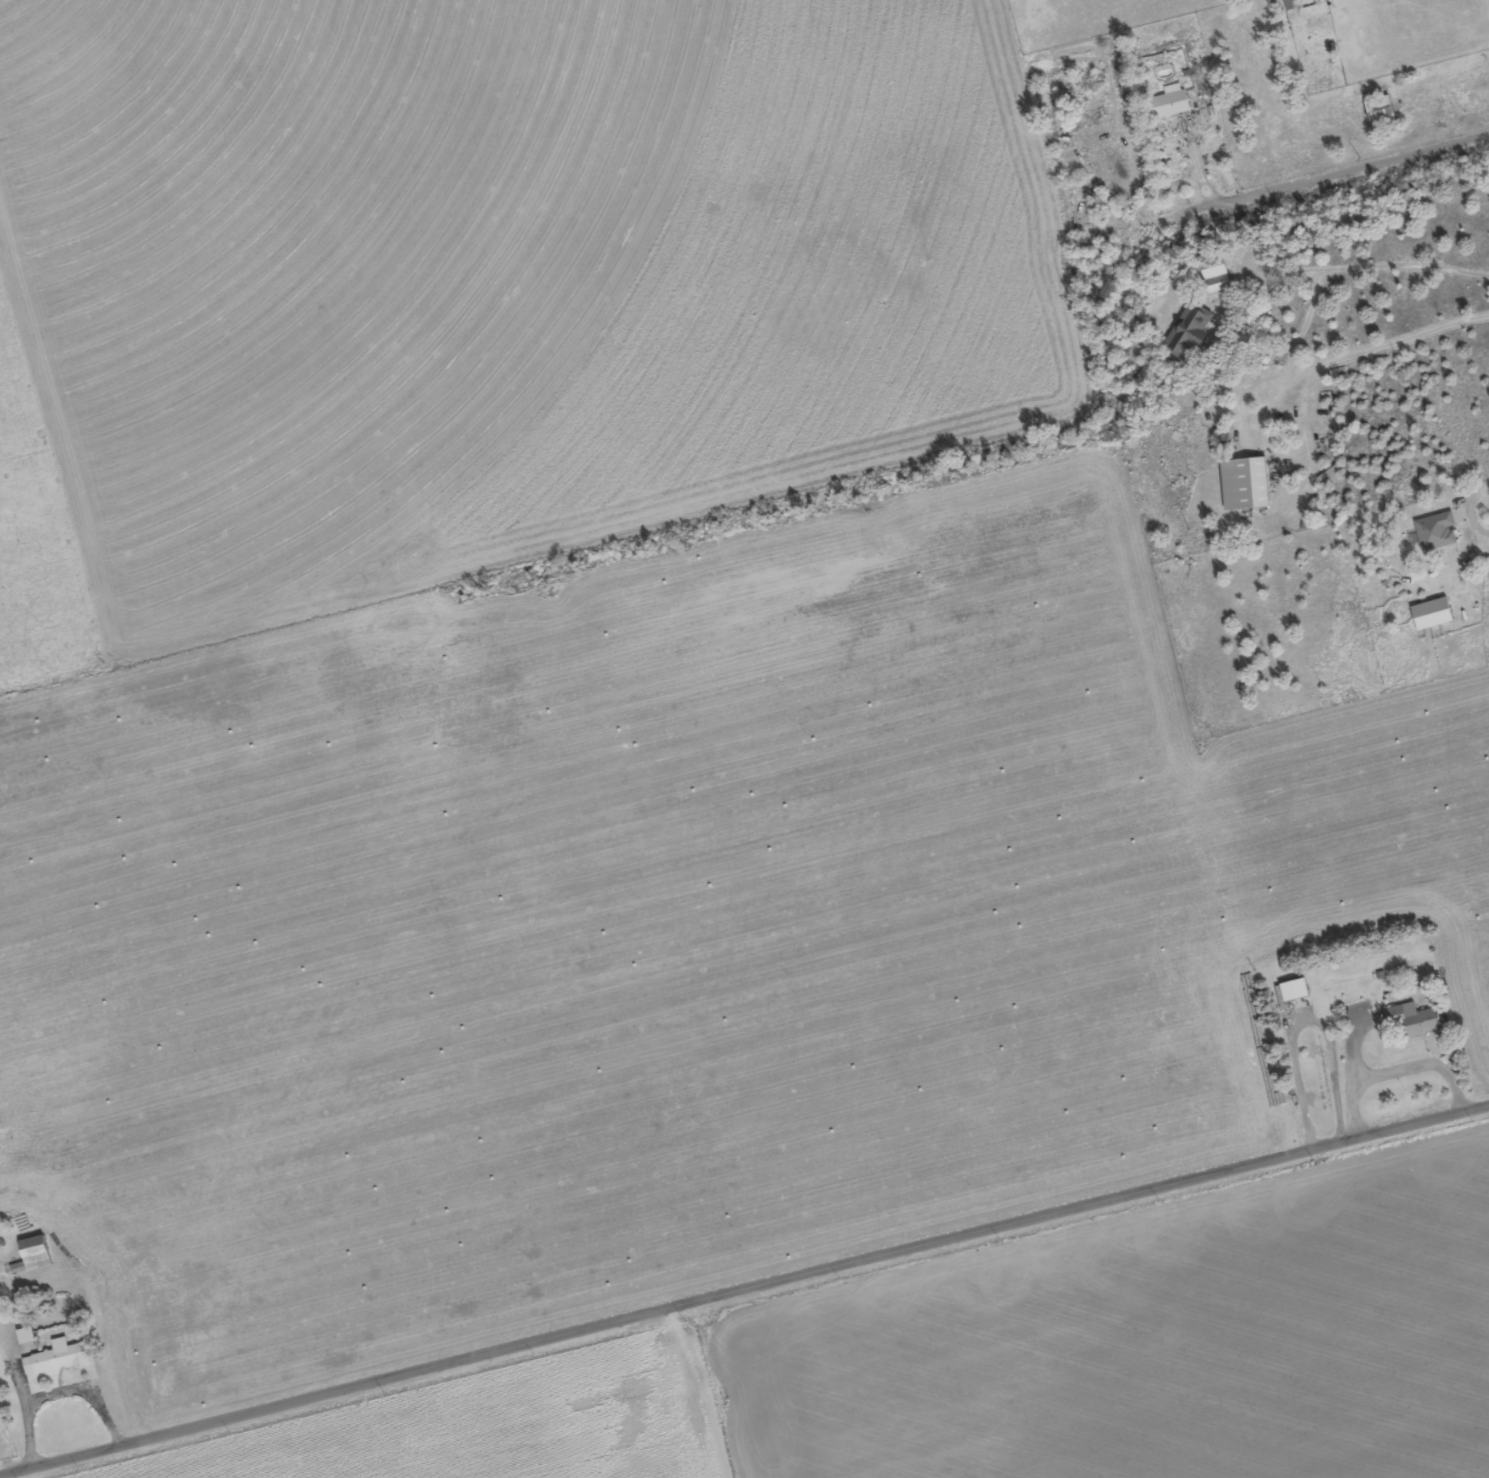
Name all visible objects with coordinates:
building: (1284, 1)
building: (1165, 103)
building: (1375, 112)
road: (1360, 165)
building: (1211, 275)
building: (1185, 332)
building: (1240, 484)
building: (1299, 991)
building: (1415, 1023)
building: (38, 1256)
road: (744, 1289)
building: (29, 1337)
building: (61, 1359)
road: (729, 1385)

